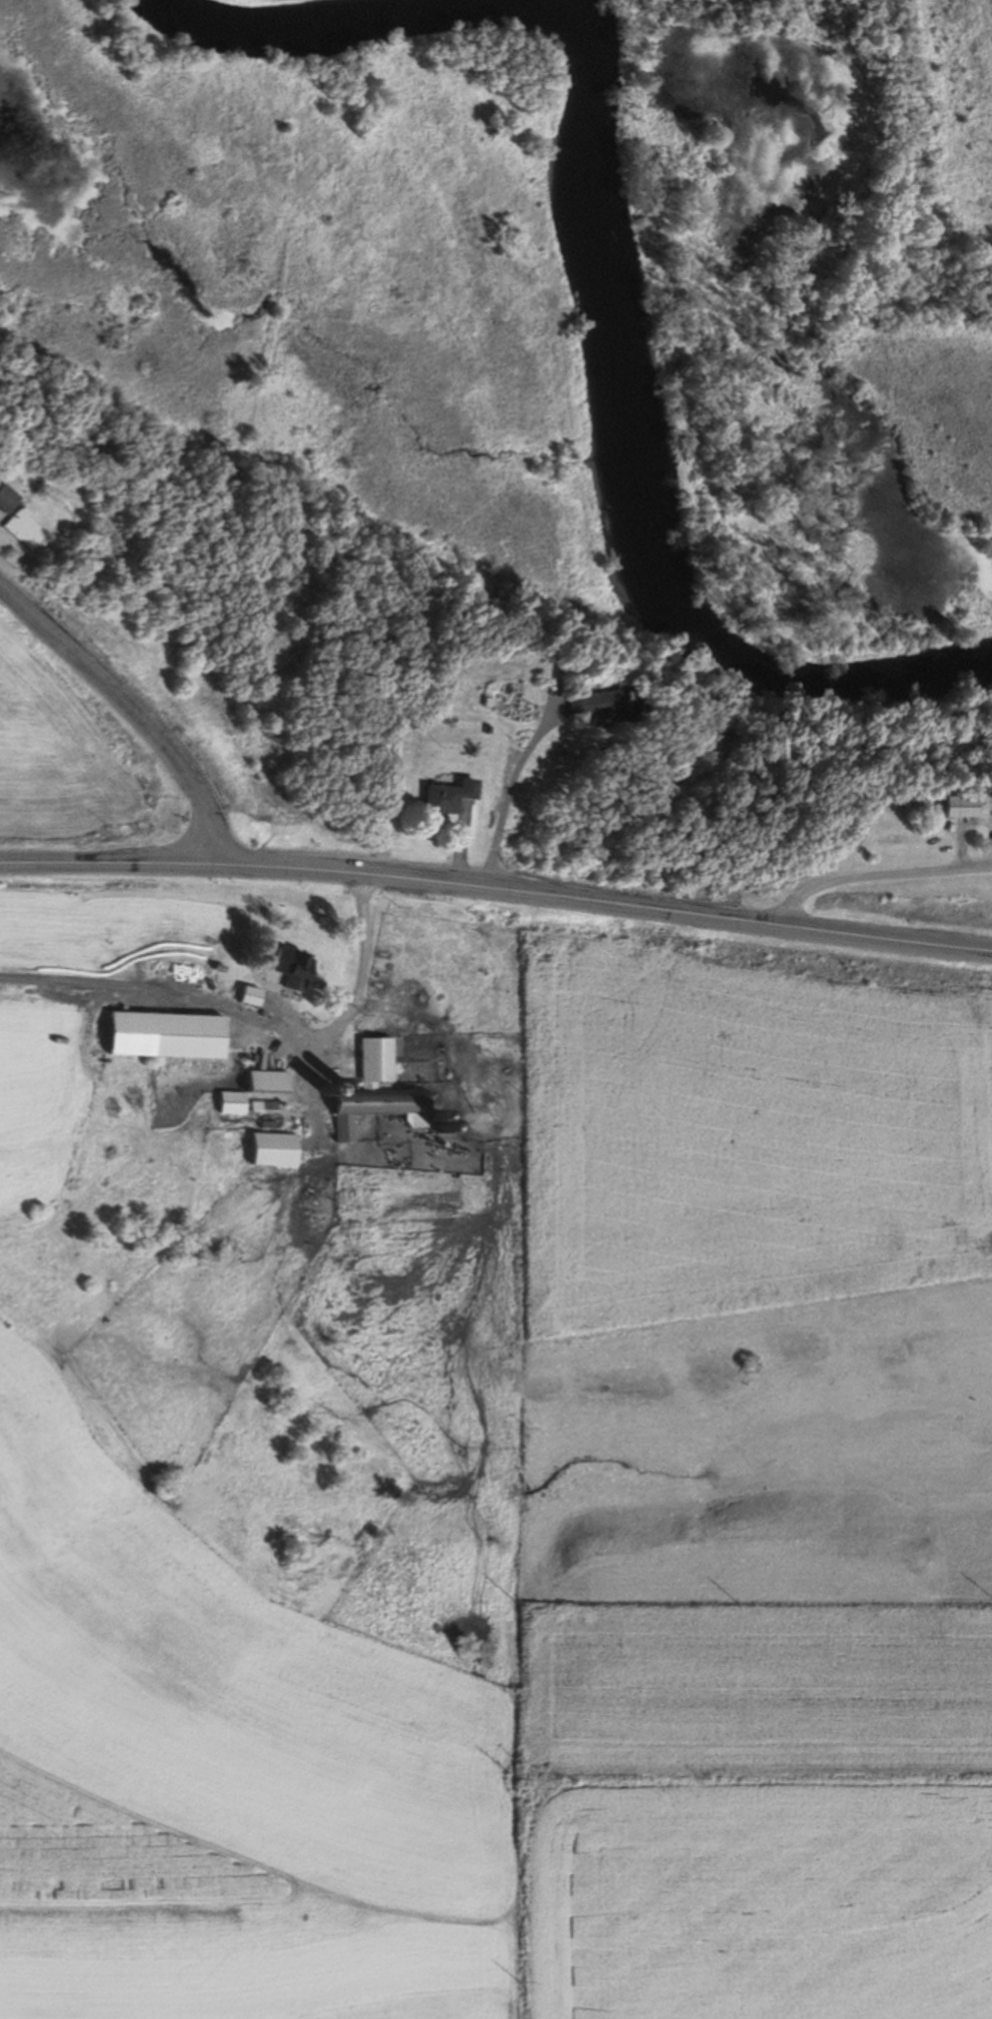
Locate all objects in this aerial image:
river: (604, 304)
building: (5, 497)
building: (21, 528)
building: (590, 704)
road: (129, 710)
building: (980, 790)
road: (505, 795)
building: (442, 798)
building: (947, 807)
road: (970, 821)
road: (460, 844)
road: (875, 873)
road: (497, 887)
building: (288, 970)
road: (63, 991)
building: (245, 996)
road: (307, 1031)
building: (158, 1035)
building: (260, 1083)
building: (365, 1093)
building: (225, 1104)
building: (265, 1149)
road: (283, 1884)

